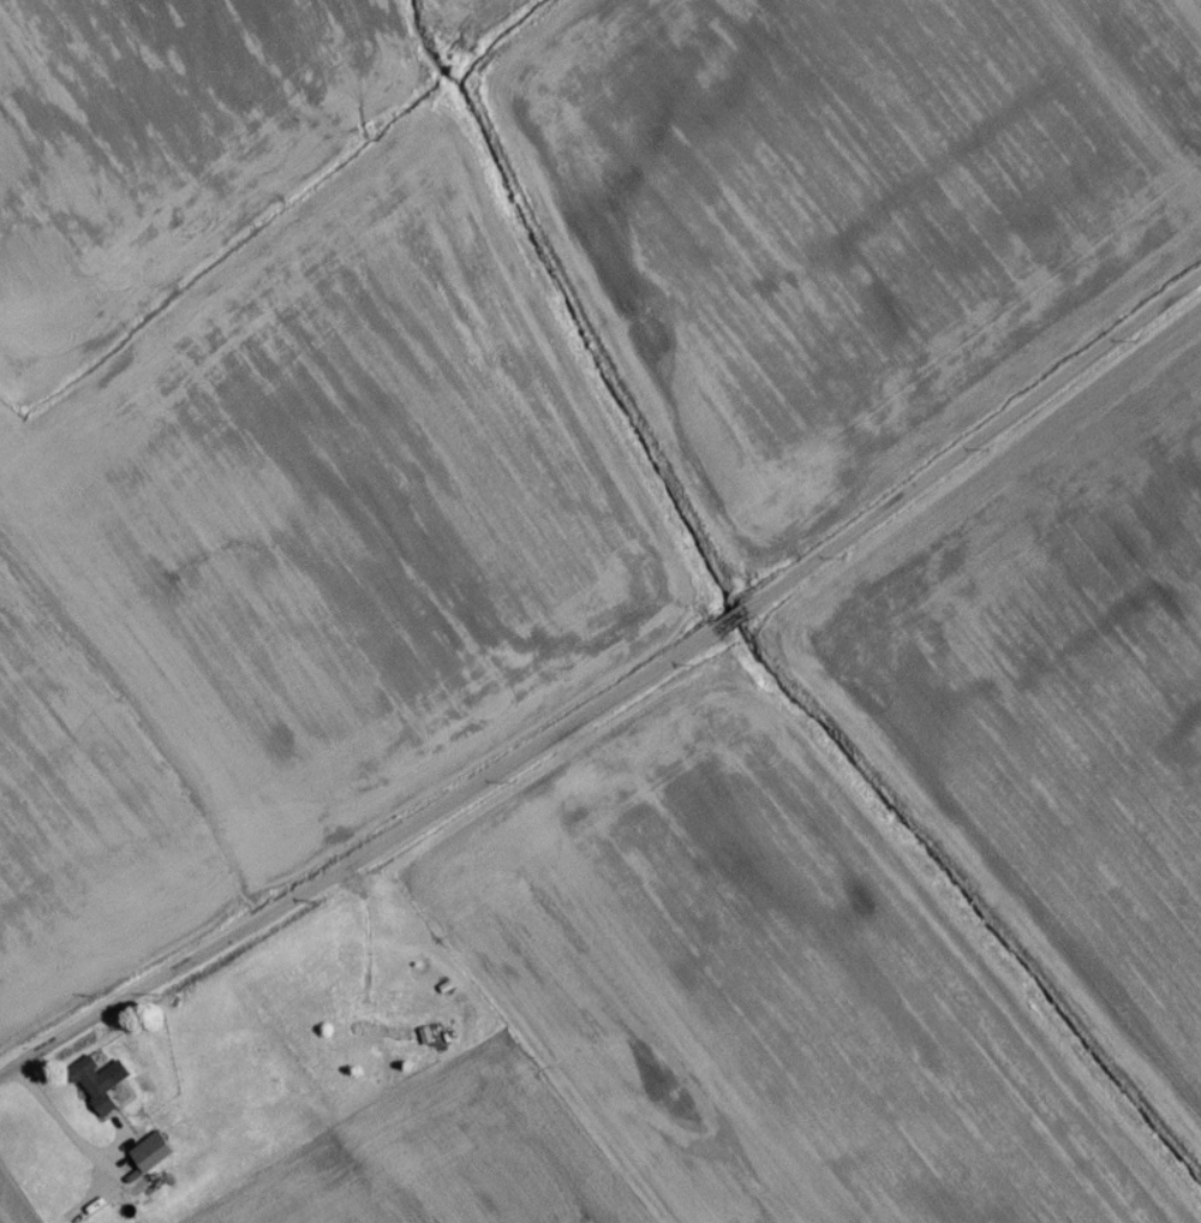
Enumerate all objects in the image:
road: (615, 706)
building: (382, 1038)
building: (98, 1092)
road: (64, 1126)
building: (155, 1158)

